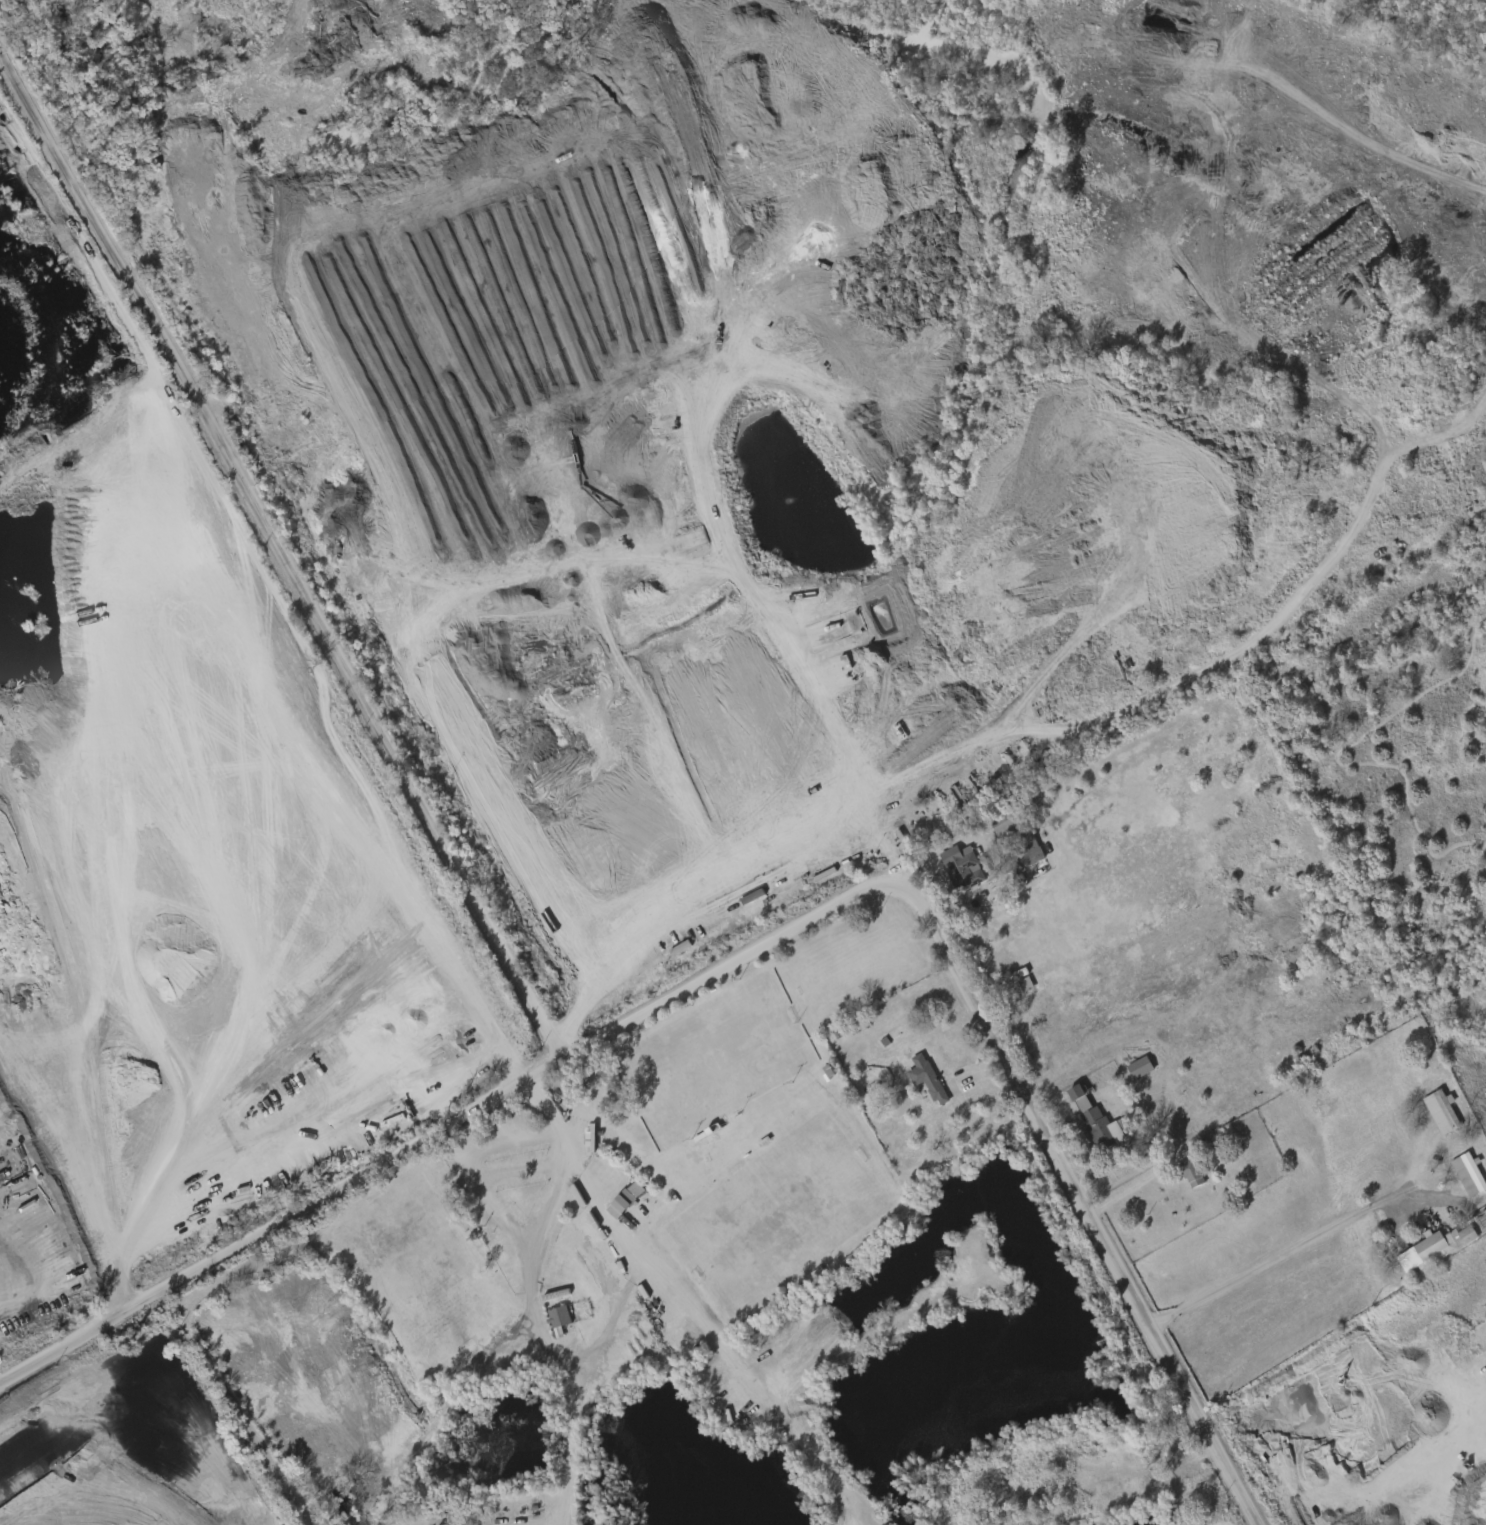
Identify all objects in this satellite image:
road: (214, 137)
road: (491, 256)
road: (286, 559)
building: (995, 823)
building: (1020, 846)
building: (962, 867)
road: (699, 908)
building: (680, 948)
building: (1008, 980)
road: (993, 1040)
road: (1086, 1059)
building: (1131, 1066)
building: (1139, 1068)
building: (926, 1077)
building: (1075, 1093)
road: (1060, 1111)
building: (1441, 1112)
building: (1101, 1129)
building: (1190, 1173)
building: (1468, 1175)
road: (1129, 1192)
building: (617, 1197)
building: (628, 1199)
road: (1438, 1208)
road: (555, 1217)
road: (284, 1231)
building: (1435, 1248)
road: (1307, 1251)
building: (551, 1315)
building: (560, 1322)
road: (610, 1323)
building: (1483, 1328)
road: (1455, 1465)
building: (458, 1524)

